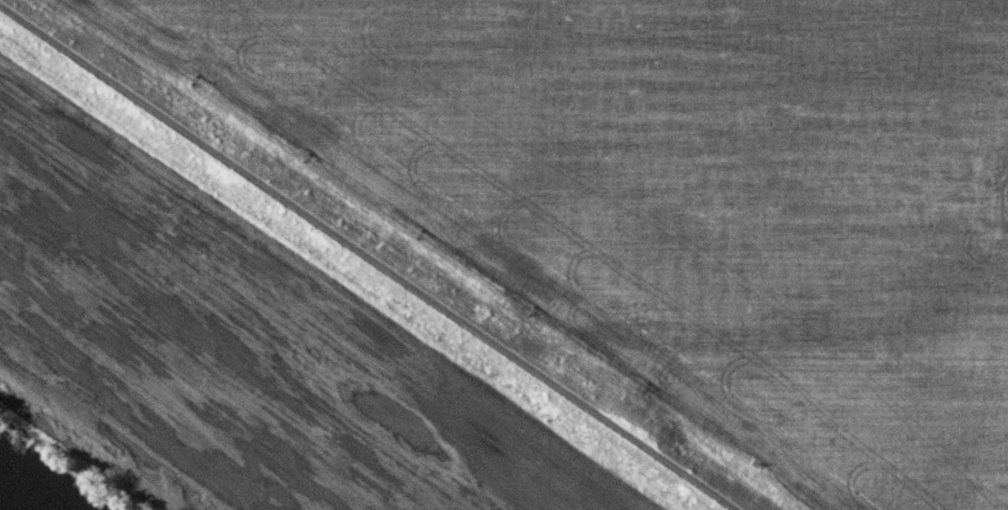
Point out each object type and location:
road: (366, 259)

